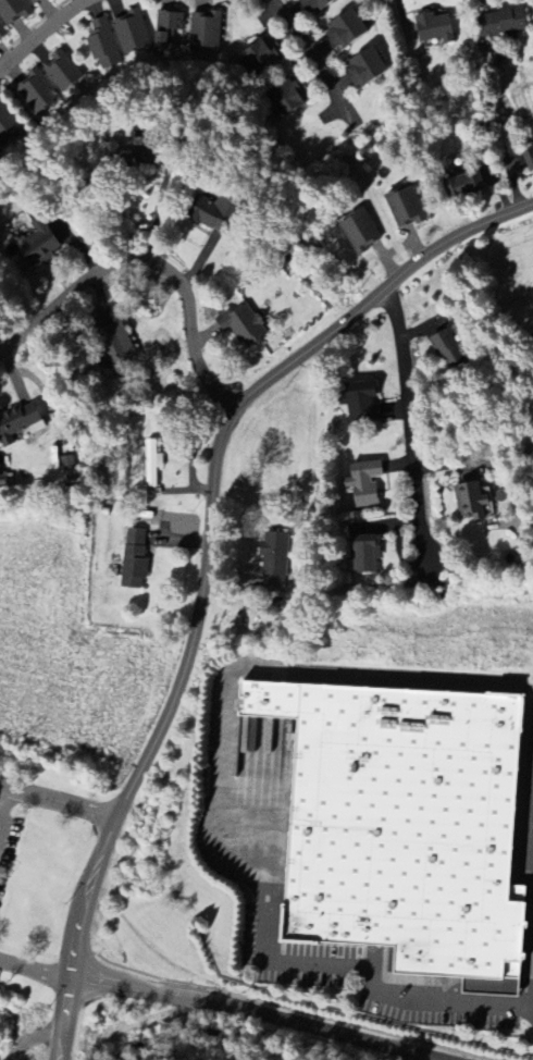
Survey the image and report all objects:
building: (35, 2)
building: (315, 5)
building: (13, 11)
building: (501, 24)
road: (32, 28)
building: (434, 28)
building: (344, 30)
building: (204, 32)
building: (131, 33)
building: (166, 33)
building: (1, 34)
building: (102, 44)
road: (303, 45)
building: (262, 57)
building: (364, 67)
building: (62, 73)
building: (37, 93)
building: (288, 97)
building: (8, 125)
building: (134, 158)
building: (529, 160)
building: (463, 186)
building: (405, 208)
building: (211, 213)
building: (360, 232)
building: (38, 245)
road: (149, 268)
building: (243, 326)
building: (532, 336)
building: (115, 345)
building: (447, 352)
building: (360, 404)
building: (18, 423)
road: (408, 469)
building: (364, 484)
building: (469, 502)
building: (147, 519)
building: (365, 555)
building: (134, 560)
road: (202, 563)
building: (273, 563)
road: (264, 667)
road: (532, 699)
road: (531, 742)
road: (530, 782)
road: (526, 784)
road: (4, 787)
road: (61, 804)
road: (529, 821)
building: (400, 825)
road: (284, 961)
road: (33, 971)
road: (371, 977)
road: (445, 996)
road: (526, 1003)
road: (270, 1015)

